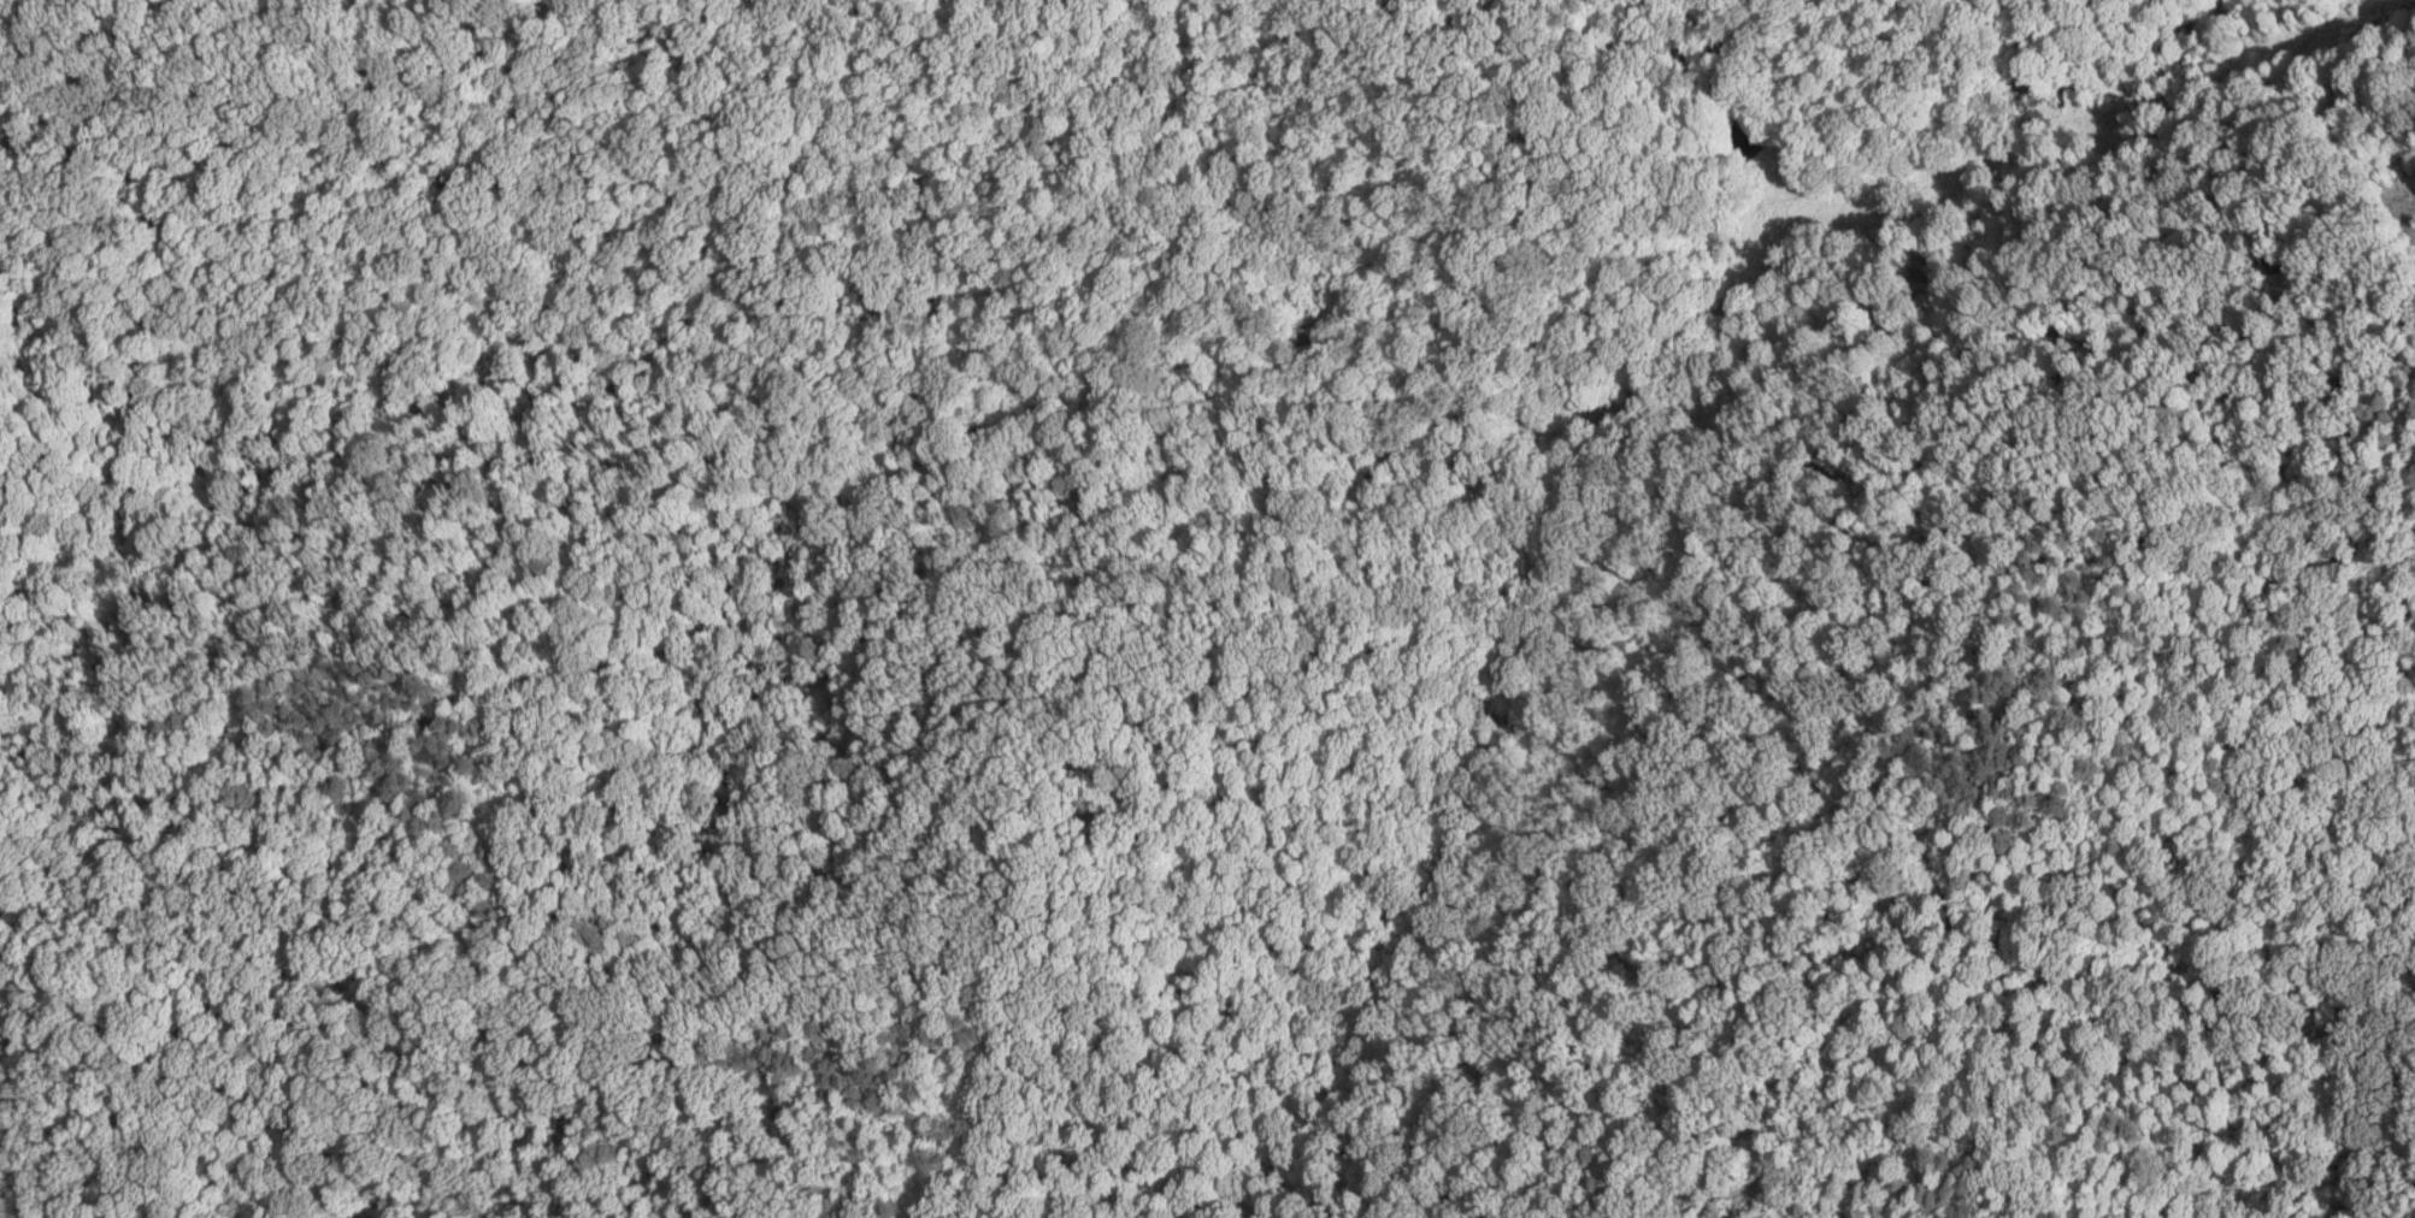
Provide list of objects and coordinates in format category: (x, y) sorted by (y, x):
road: (2409, 793)
road: (463, 916)

